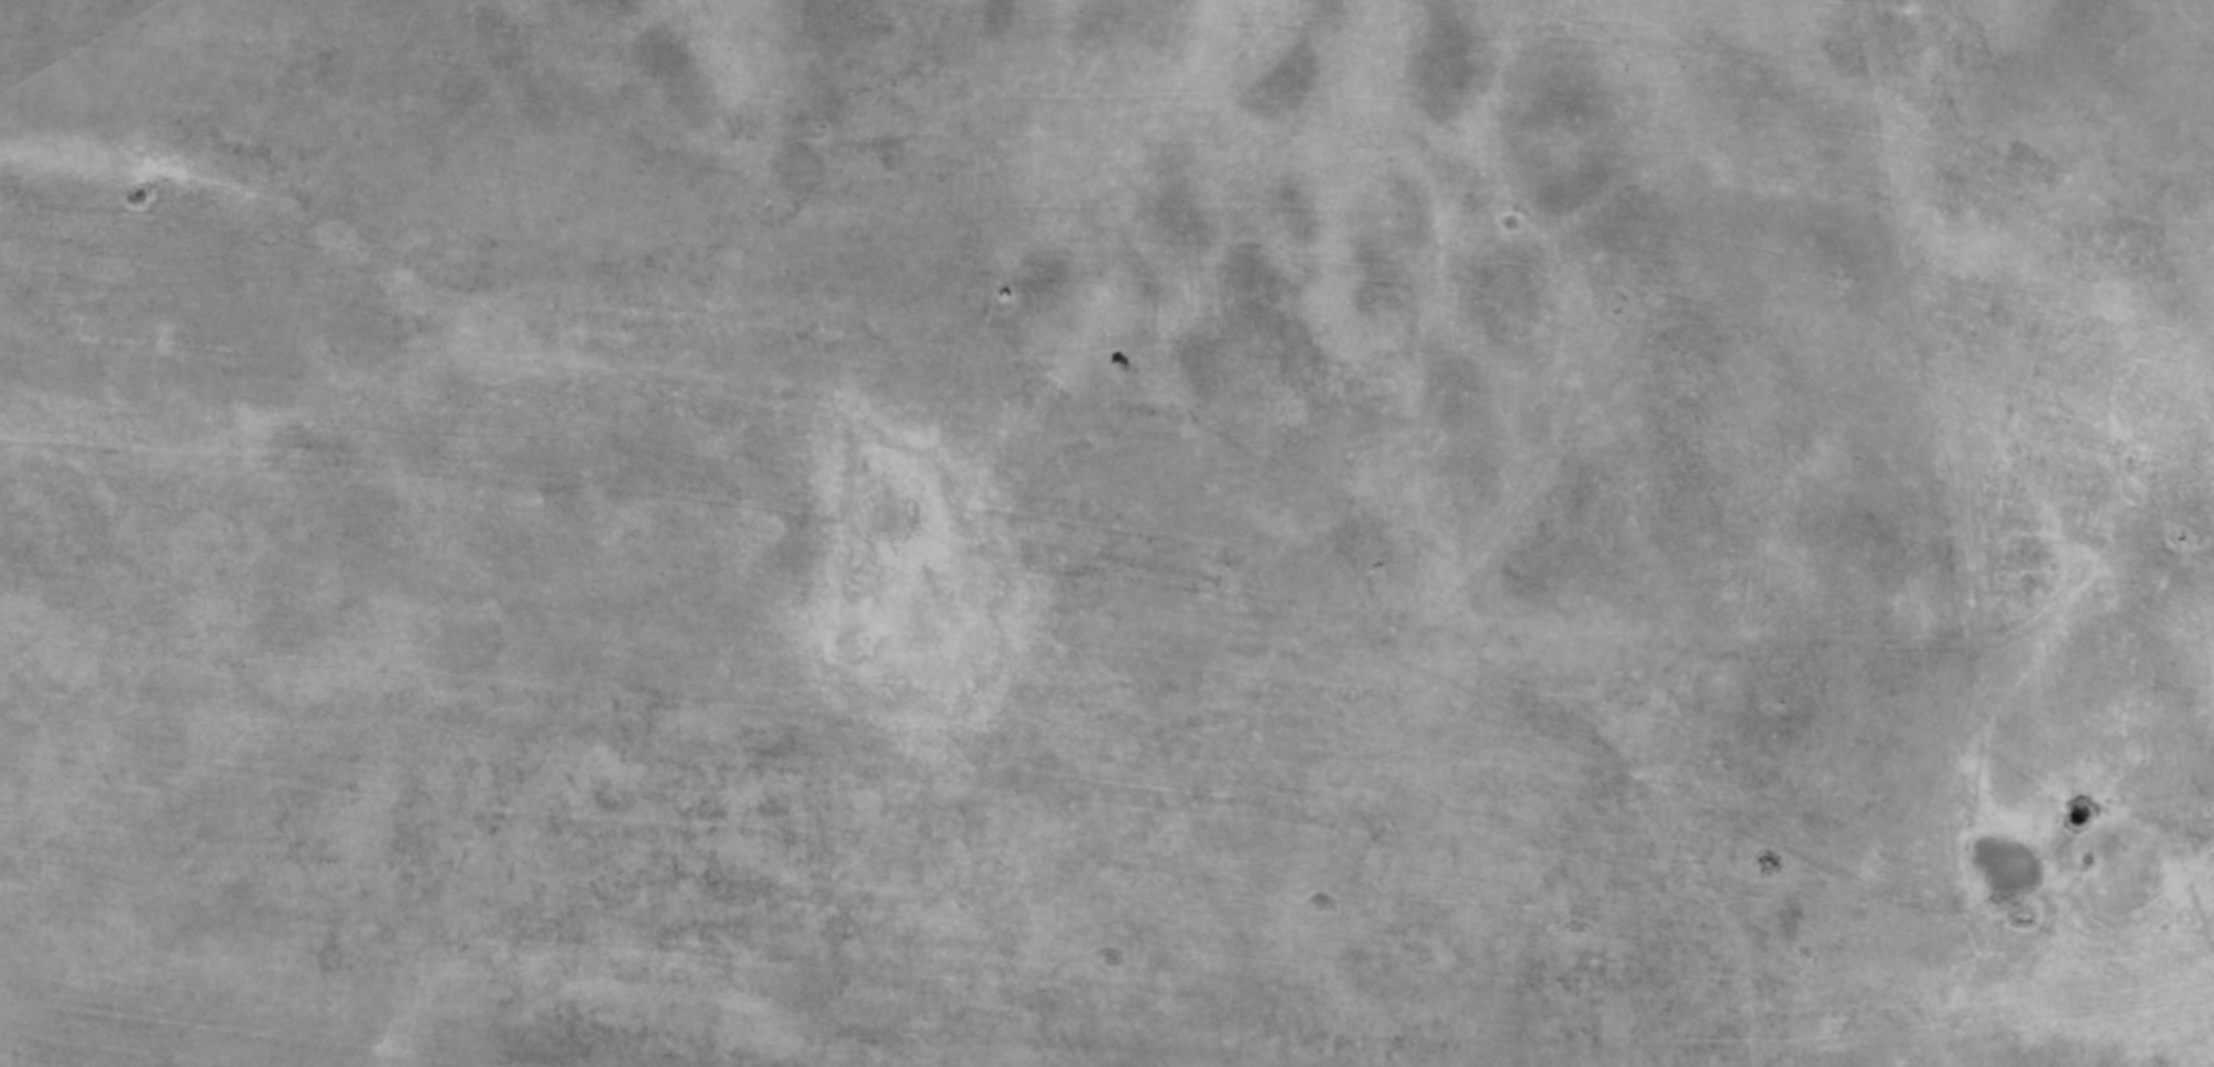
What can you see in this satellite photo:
road: (1102, 563)

